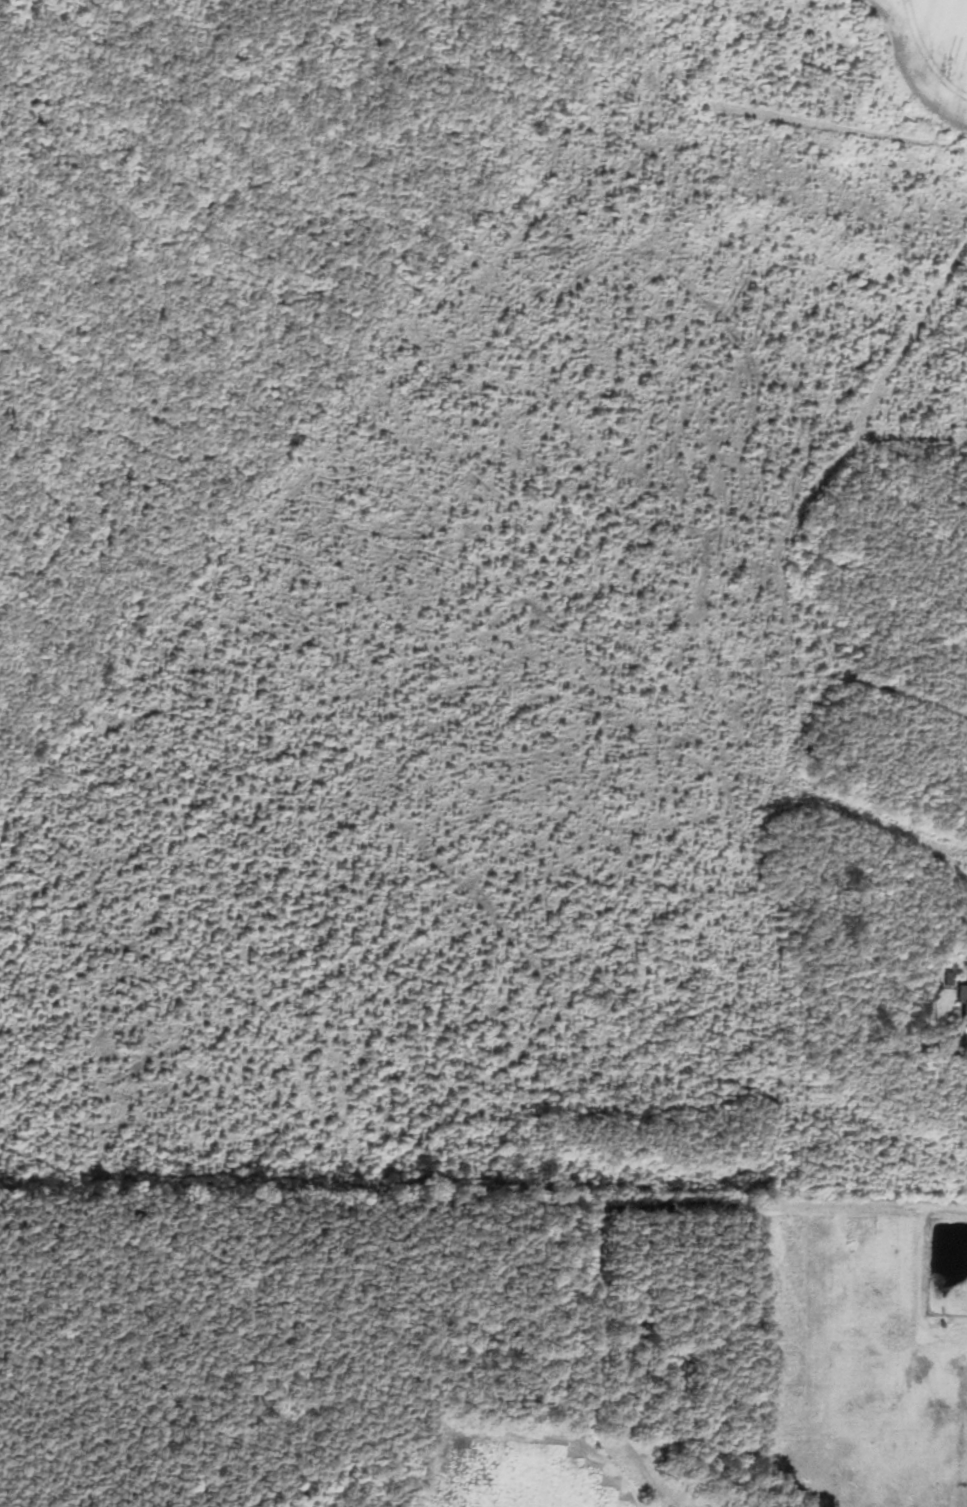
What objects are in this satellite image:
building: (963, 1009)

